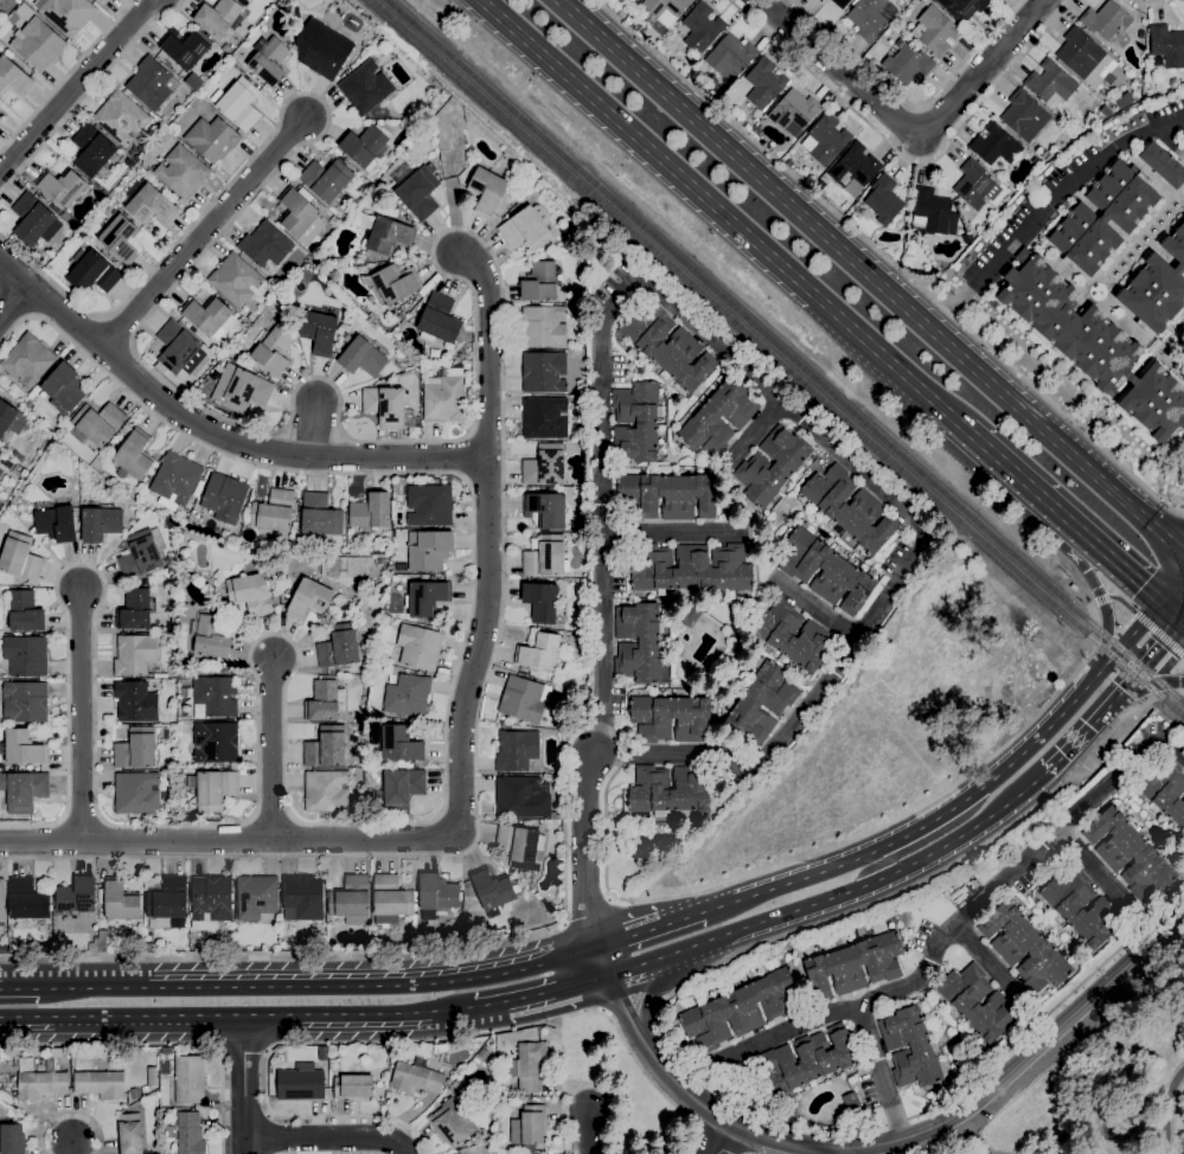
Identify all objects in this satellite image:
building: (635, 0)
building: (820, 1)
building: (100, 2)
building: (840, 2)
road: (1150, 6)
building: (665, 7)
building: (962, 8)
building: (25, 12)
building: (68, 14)
building: (219, 18)
building: (871, 18)
building: (1106, 20)
building: (702, 28)
building: (936, 32)
building: (1140, 34)
building: (38, 44)
building: (1167, 46)
building: (184, 47)
building: (322, 49)
building: (1080, 53)
building: (730, 57)
building: (269, 60)
building: (908, 64)
building: (876, 70)
building: (693, 75)
road: (66, 76)
building: (13, 77)
building: (711, 81)
building: (193, 83)
building: (149, 84)
building: (764, 84)
building: (1051, 84)
road: (75, 85)
building: (365, 88)
building: (1135, 91)
road: (88, 92)
building: (1124, 101)
building: (238, 104)
road: (911, 104)
building: (434, 105)
building: (794, 110)
building: (1106, 111)
building: (1024, 116)
building: (120, 117)
building: (747, 128)
road: (908, 128)
building: (212, 139)
building: (825, 140)
building: (366, 146)
building: (996, 146)
building: (94, 152)
building: (1044, 156)
road: (905, 160)
building: (789, 164)
building: (1163, 165)
building: (855, 169)
building: (183, 172)
building: (326, 180)
road: (1070, 184)
building: (973, 185)
building: (63, 192)
building: (486, 192)
building: (418, 193)
building: (884, 200)
building: (151, 205)
building: (930, 212)
building: (300, 214)
road: (453, 214)
road: (723, 216)
building: (1105, 217)
building: (31, 219)
building: (852, 219)
building: (525, 227)
road: (203, 233)
building: (385, 233)
road: (443, 233)
road: (469, 235)
building: (967, 238)
building: (122, 239)
building: (265, 244)
road: (434, 248)
road: (887, 259)
building: (92, 273)
building: (334, 276)
road: (872, 278)
building: (237, 281)
building: (539, 282)
building: (391, 284)
building: (1157, 287)
road: (13, 301)
building: (293, 303)
building: (206, 315)
building: (401, 316)
building: (439, 321)
building: (543, 327)
building: (319, 332)
building: (1092, 344)
building: (667, 346)
building: (178, 348)
building: (273, 352)
railway: (783, 352)
building: (431, 353)
building: (361, 357)
building: (459, 357)
railway: (776, 359)
building: (27, 360)
road: (474, 368)
building: (544, 372)
building: (216, 373)
building: (63, 389)
building: (241, 389)
road: (772, 392)
building: (469, 396)
building: (443, 397)
building: (26, 404)
building: (384, 406)
building: (233, 417)
building: (543, 418)
building: (718, 418)
building: (11, 419)
building: (635, 421)
building: (98, 423)
road: (314, 430)
road: (216, 432)
road: (755, 432)
building: (132, 457)
road: (463, 457)
building: (544, 466)
road: (1001, 466)
building: (764, 470)
building: (175, 481)
building: (666, 496)
building: (224, 498)
building: (429, 505)
building: (849, 508)
building: (546, 511)
building: (273, 512)
building: (370, 512)
building: (320, 515)
building: (56, 524)
building: (100, 524)
road: (670, 532)
building: (572, 541)
building: (428, 551)
road: (1099, 552)
building: (140, 556)
building: (19, 557)
building: (544, 557)
building: (380, 562)
building: (345, 569)
building: (692, 569)
building: (826, 571)
building: (143, 583)
road: (1096, 591)
building: (250, 595)
building: (425, 598)
building: (308, 600)
building: (540, 602)
traffic signals: (1157, 604)
building: (134, 610)
road: (815, 610)
building: (23, 611)
road: (1167, 614)
building: (580, 616)
building: (690, 616)
road: (1140, 618)
road: (1180, 621)
traffic signals: (1178, 624)
building: (171, 627)
road: (1180, 627)
building: (582, 630)
road: (1132, 633)
building: (791, 635)
building: (211, 637)
building: (638, 643)
building: (338, 647)
building: (420, 647)
building: (538, 652)
building: (25, 655)
building: (134, 655)
road: (1139, 666)
building: (183, 675)
road: (1141, 692)
road: (1183, 693)
building: (215, 697)
building: (407, 697)
building: (524, 699)
building: (134, 701)
building: (324, 701)
road: (1148, 701)
building: (25, 703)
building: (762, 703)
road: (81, 714)
building: (668, 719)
road: (604, 726)
building: (183, 727)
building: (215, 743)
building: (398, 744)
road: (1069, 744)
road: (284, 745)
building: (23, 748)
building: (326, 748)
building: (135, 750)
building: (517, 750)
road: (271, 751)
road: (460, 767)
building: (556, 780)
building: (215, 789)
building: (402, 789)
building: (1164, 789)
building: (24, 790)
building: (667, 790)
building: (326, 791)
building: (136, 793)
building: (523, 799)
building: (168, 809)
road: (911, 833)
building: (521, 848)
road: (584, 852)
building: (1129, 853)
road: (1097, 873)
building: (518, 874)
building: (437, 892)
building: (493, 892)
building: (76, 896)
building: (256, 897)
building: (302, 898)
road: (834, 898)
road: (608, 899)
building: (1, 900)
building: (26, 900)
building: (117, 900)
building: (351, 900)
building: (391, 900)
building: (168, 902)
building: (210, 903)
building: (1081, 908)
road: (585, 913)
road: (966, 913)
road: (684, 917)
road: (563, 924)
road: (629, 935)
building: (102, 941)
building: (147, 948)
building: (1024, 948)
road: (986, 960)
building: (856, 964)
road: (318, 986)
road: (1, 988)
road: (19, 988)
road: (556, 989)
road: (651, 989)
road: (627, 1001)
building: (977, 1002)
road: (488, 1006)
road: (654, 1008)
road: (602, 1009)
building: (741, 1009)
road: (236, 1018)
road: (162, 1046)
building: (909, 1049)
road: (244, 1051)
building: (321, 1054)
building: (804, 1062)
building: (332, 1065)
building: (527, 1066)
road: (562, 1066)
road: (640, 1066)
road: (881, 1073)
building: (152, 1077)
building: (415, 1078)
park: (1107, 1079)
building: (188, 1081)
building: (300, 1083)
building: (100, 1084)
building: (40, 1085)
road: (244, 1085)
building: (454, 1085)
building: (353, 1088)
road: (589, 1088)
building: (145, 1089)
building: (133, 1094)
building: (851, 1103)
road: (1165, 1110)
road: (70, 1113)
road: (923, 1113)
road: (324, 1116)
building: (452, 1124)
building: (529, 1127)
road: (583, 1131)
building: (129, 1134)
building: (190, 1134)
road: (972, 1134)
road: (327, 1137)
building: (12, 1139)
road: (964, 1139)
road: (723, 1141)
road: (879, 1143)
road: (939, 1148)
road: (72, 1149)
road: (1056, 1150)
road: (843, 1152)
building: (527, 1153)

